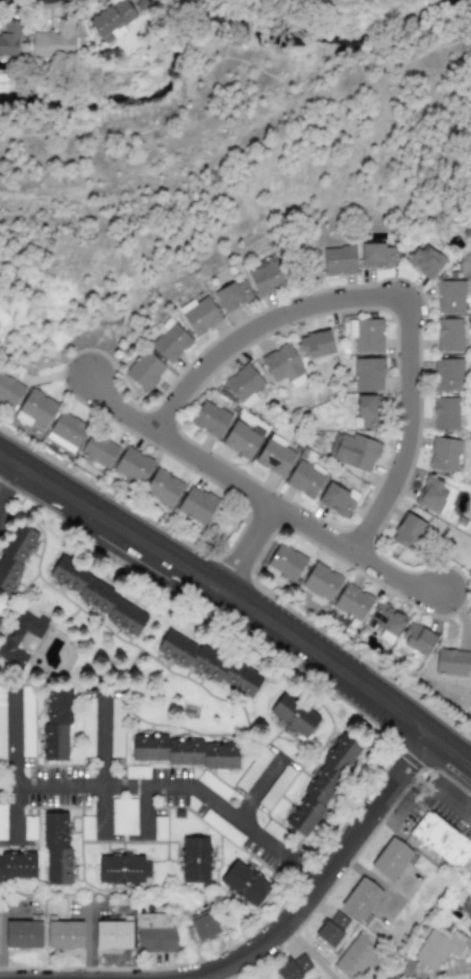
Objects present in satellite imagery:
building: (111, 20)
building: (9, 38)
building: (54, 41)
road: (227, 59)
building: (376, 255)
building: (338, 259)
building: (425, 260)
building: (266, 276)
building: (232, 295)
road: (383, 297)
building: (450, 297)
building: (200, 314)
building: (365, 334)
building: (448, 334)
building: (169, 340)
building: (315, 344)
building: (281, 363)
building: (144, 370)
building: (367, 374)
building: (447, 375)
building: (243, 385)
building: (9, 390)
building: (35, 409)
road: (119, 410)
building: (366, 412)
building: (446, 412)
building: (209, 419)
building: (67, 429)
building: (241, 439)
building: (99, 449)
building: (360, 453)
building: (443, 454)
building: (275, 455)
building: (133, 464)
building: (304, 478)
road: (8, 486)
building: (163, 487)
road: (255, 494)
building: (430, 494)
building: (336, 499)
building: (196, 505)
road: (109, 523)
building: (407, 530)
road: (246, 548)
building: (15, 556)
building: (285, 563)
road: (395, 577)
building: (321, 581)
building: (100, 597)
building: (352, 601)
building: (0, 605)
building: (385, 621)
building: (417, 638)
building: (11, 643)
road: (326, 660)
building: (450, 661)
building: (211, 663)
building: (298, 716)
building: (26, 720)
building: (56, 723)
building: (2, 724)
building: (87, 727)
building: (116, 727)
building: (187, 752)
road: (449, 752)
road: (15, 767)
road: (105, 768)
building: (252, 769)
building: (137, 771)
building: (213, 785)
building: (325, 786)
road: (174, 788)
road: (261, 788)
road: (147, 813)
building: (123, 816)
building: (2, 821)
building: (28, 827)
building: (86, 827)
building: (222, 827)
building: (441, 839)
road: (8, 846)
building: (56, 849)
building: (391, 858)
building: (195, 862)
building: (17, 864)
building: (120, 871)
road: (320, 877)
building: (246, 885)
building: (361, 898)
building: (466, 914)
building: (203, 925)
building: (332, 928)
building: (155, 932)
building: (22, 934)
building: (112, 934)
building: (64, 935)
road: (88, 939)
building: (438, 946)
building: (293, 967)
building: (270, 978)
building: (271, 978)

